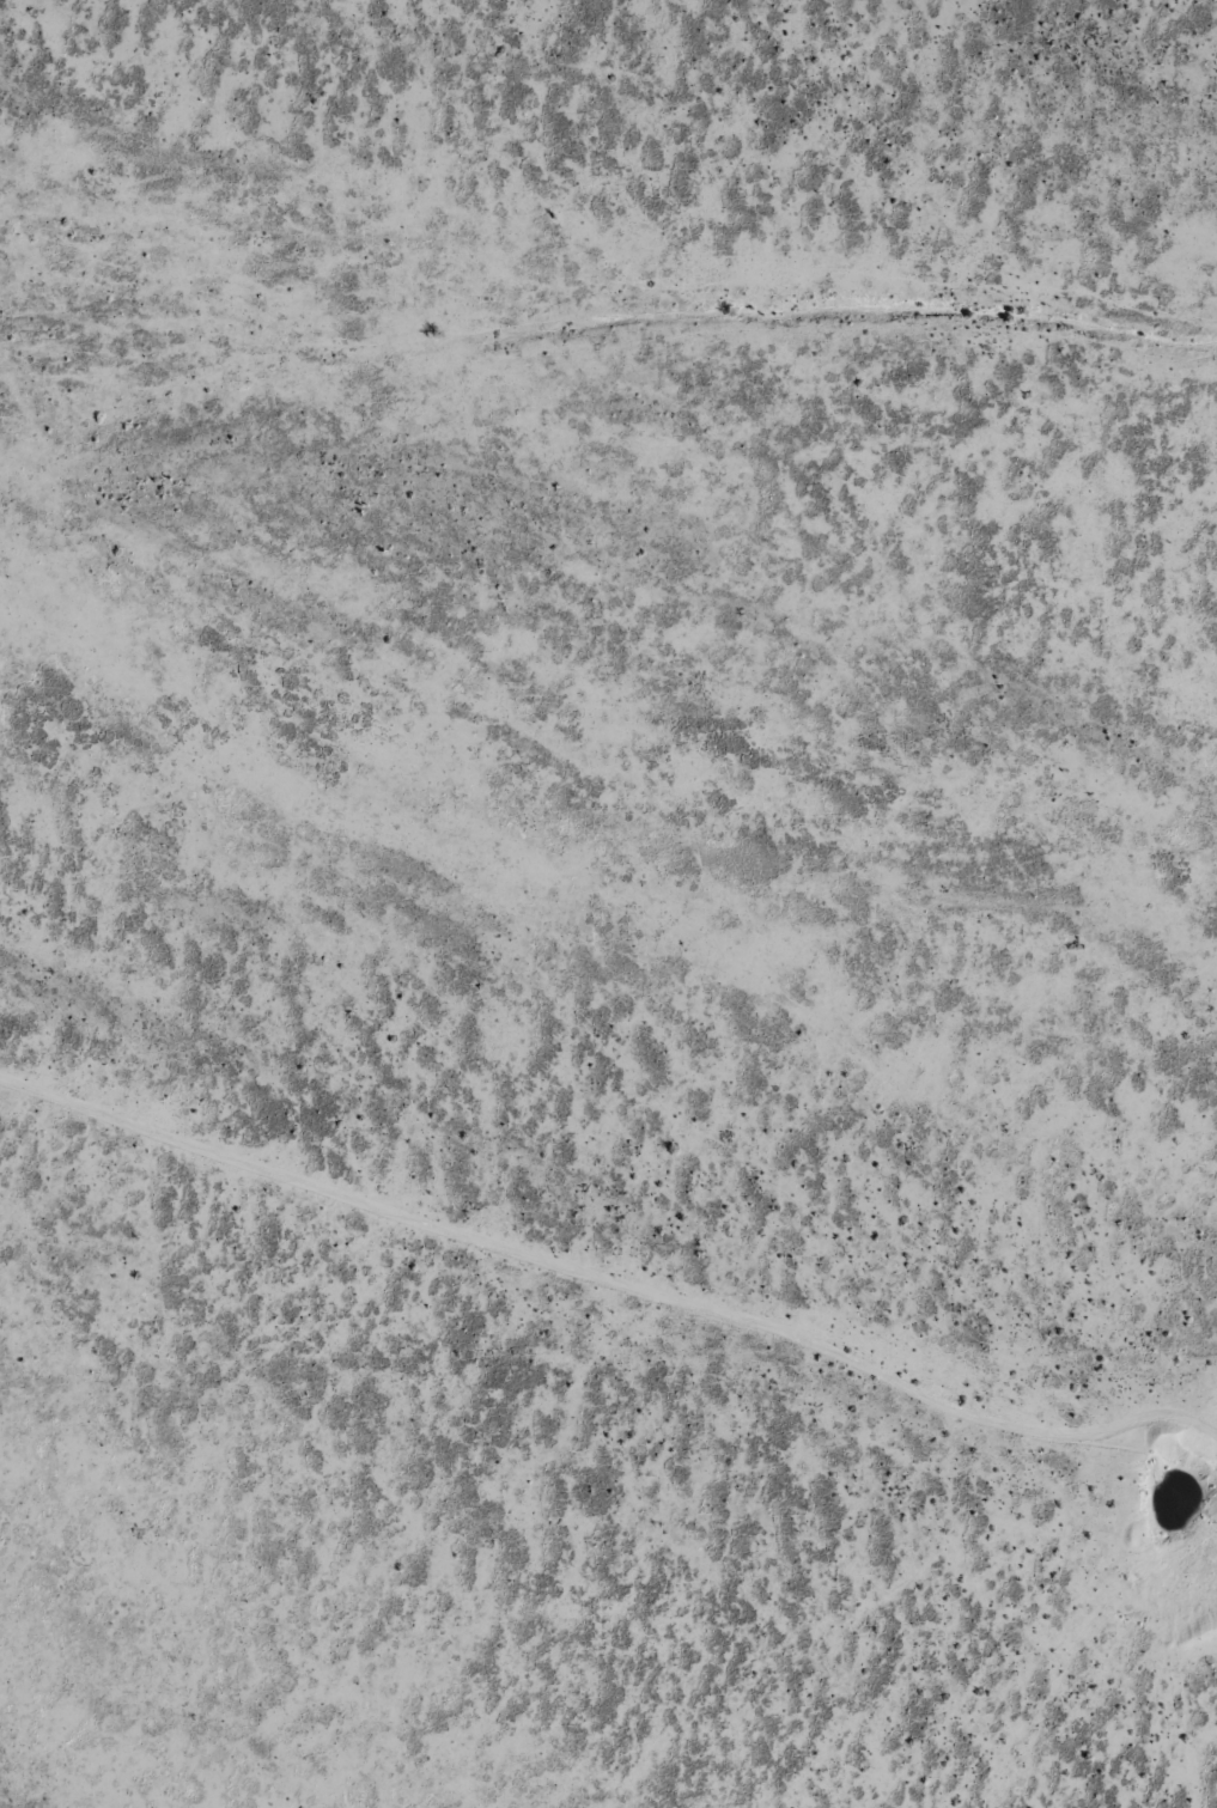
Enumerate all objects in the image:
road: (609, 1315)

